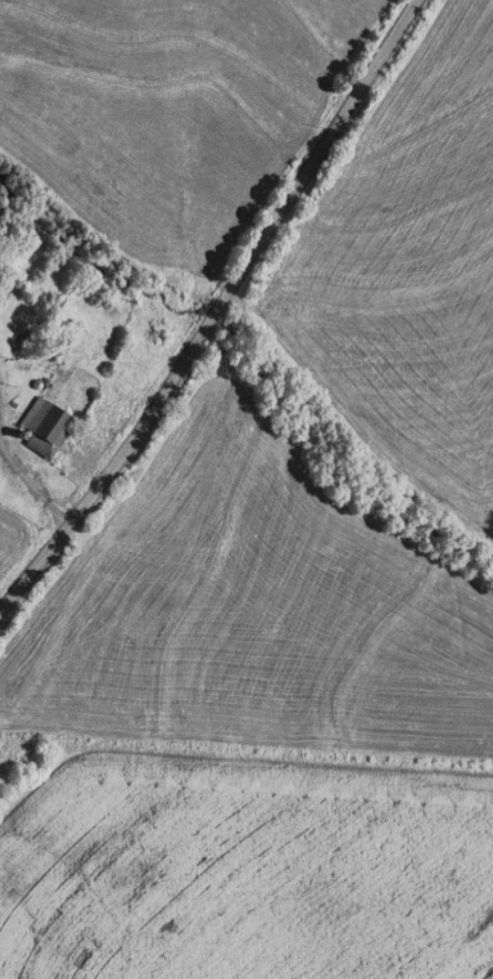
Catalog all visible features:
building: (6, 287)
road: (218, 311)
building: (46, 427)
road: (35, 486)

